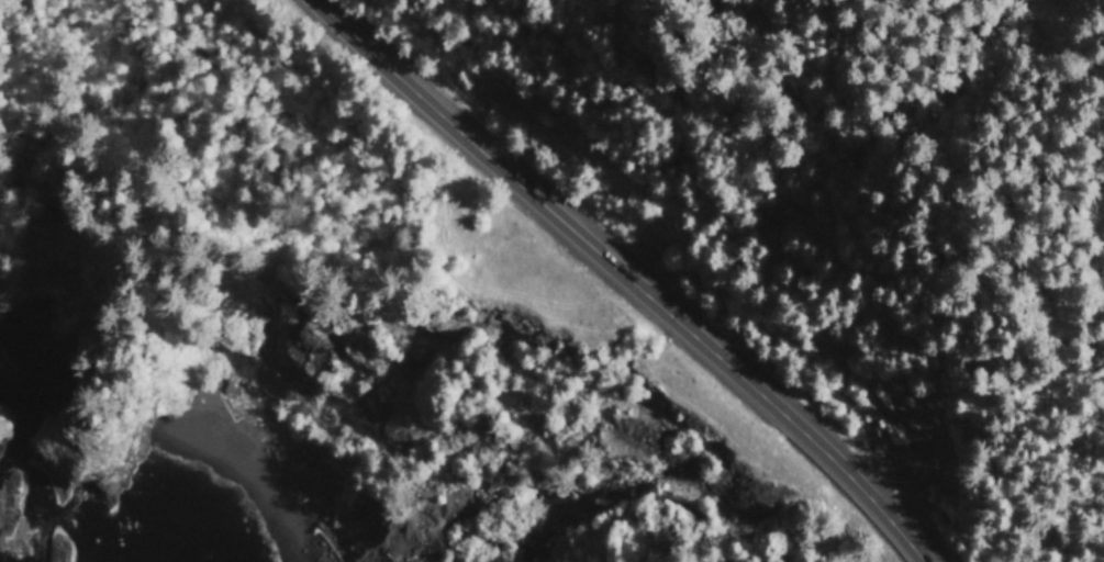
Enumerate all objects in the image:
road: (398, 190)
road: (622, 274)

